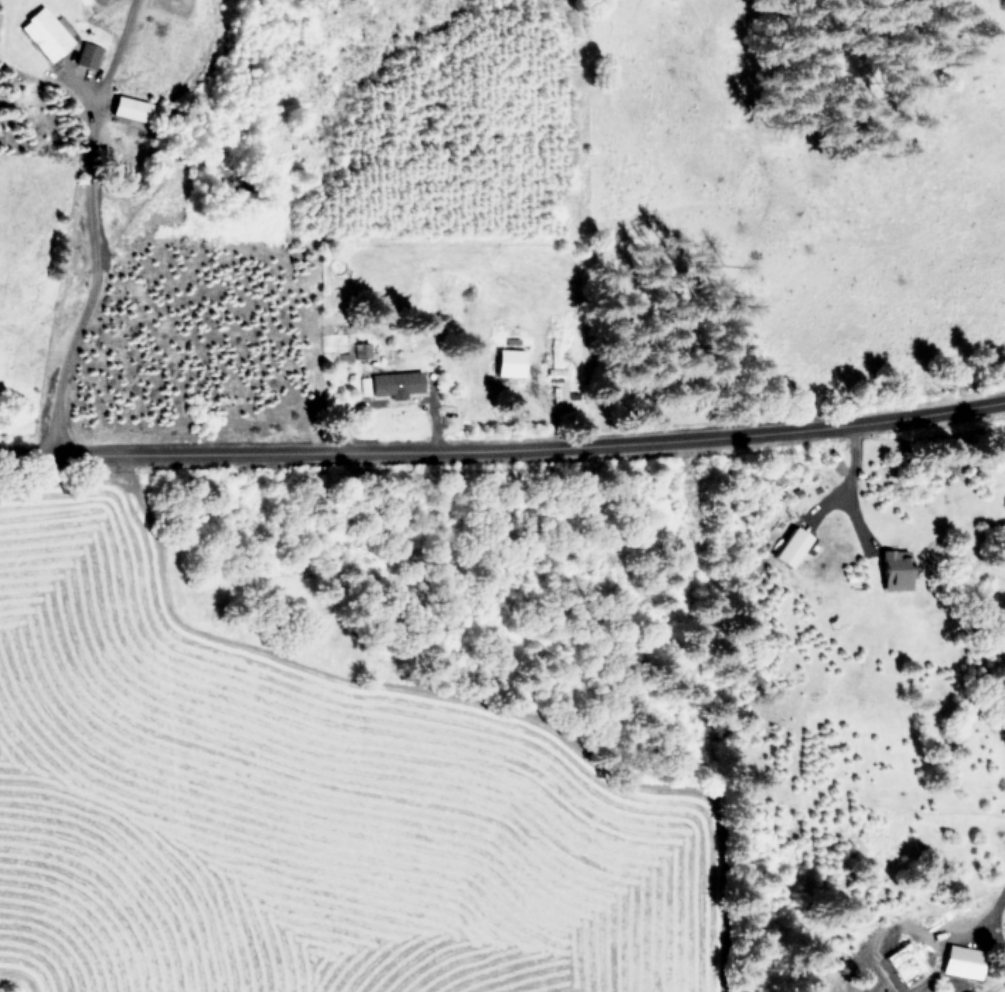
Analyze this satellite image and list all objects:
building: (45, 34)
building: (88, 55)
building: (130, 109)
road: (81, 224)
building: (510, 362)
building: (397, 383)
road: (534, 454)
road: (30, 455)
building: (791, 546)
building: (896, 569)
crop: (254, 692)
building: (965, 961)

